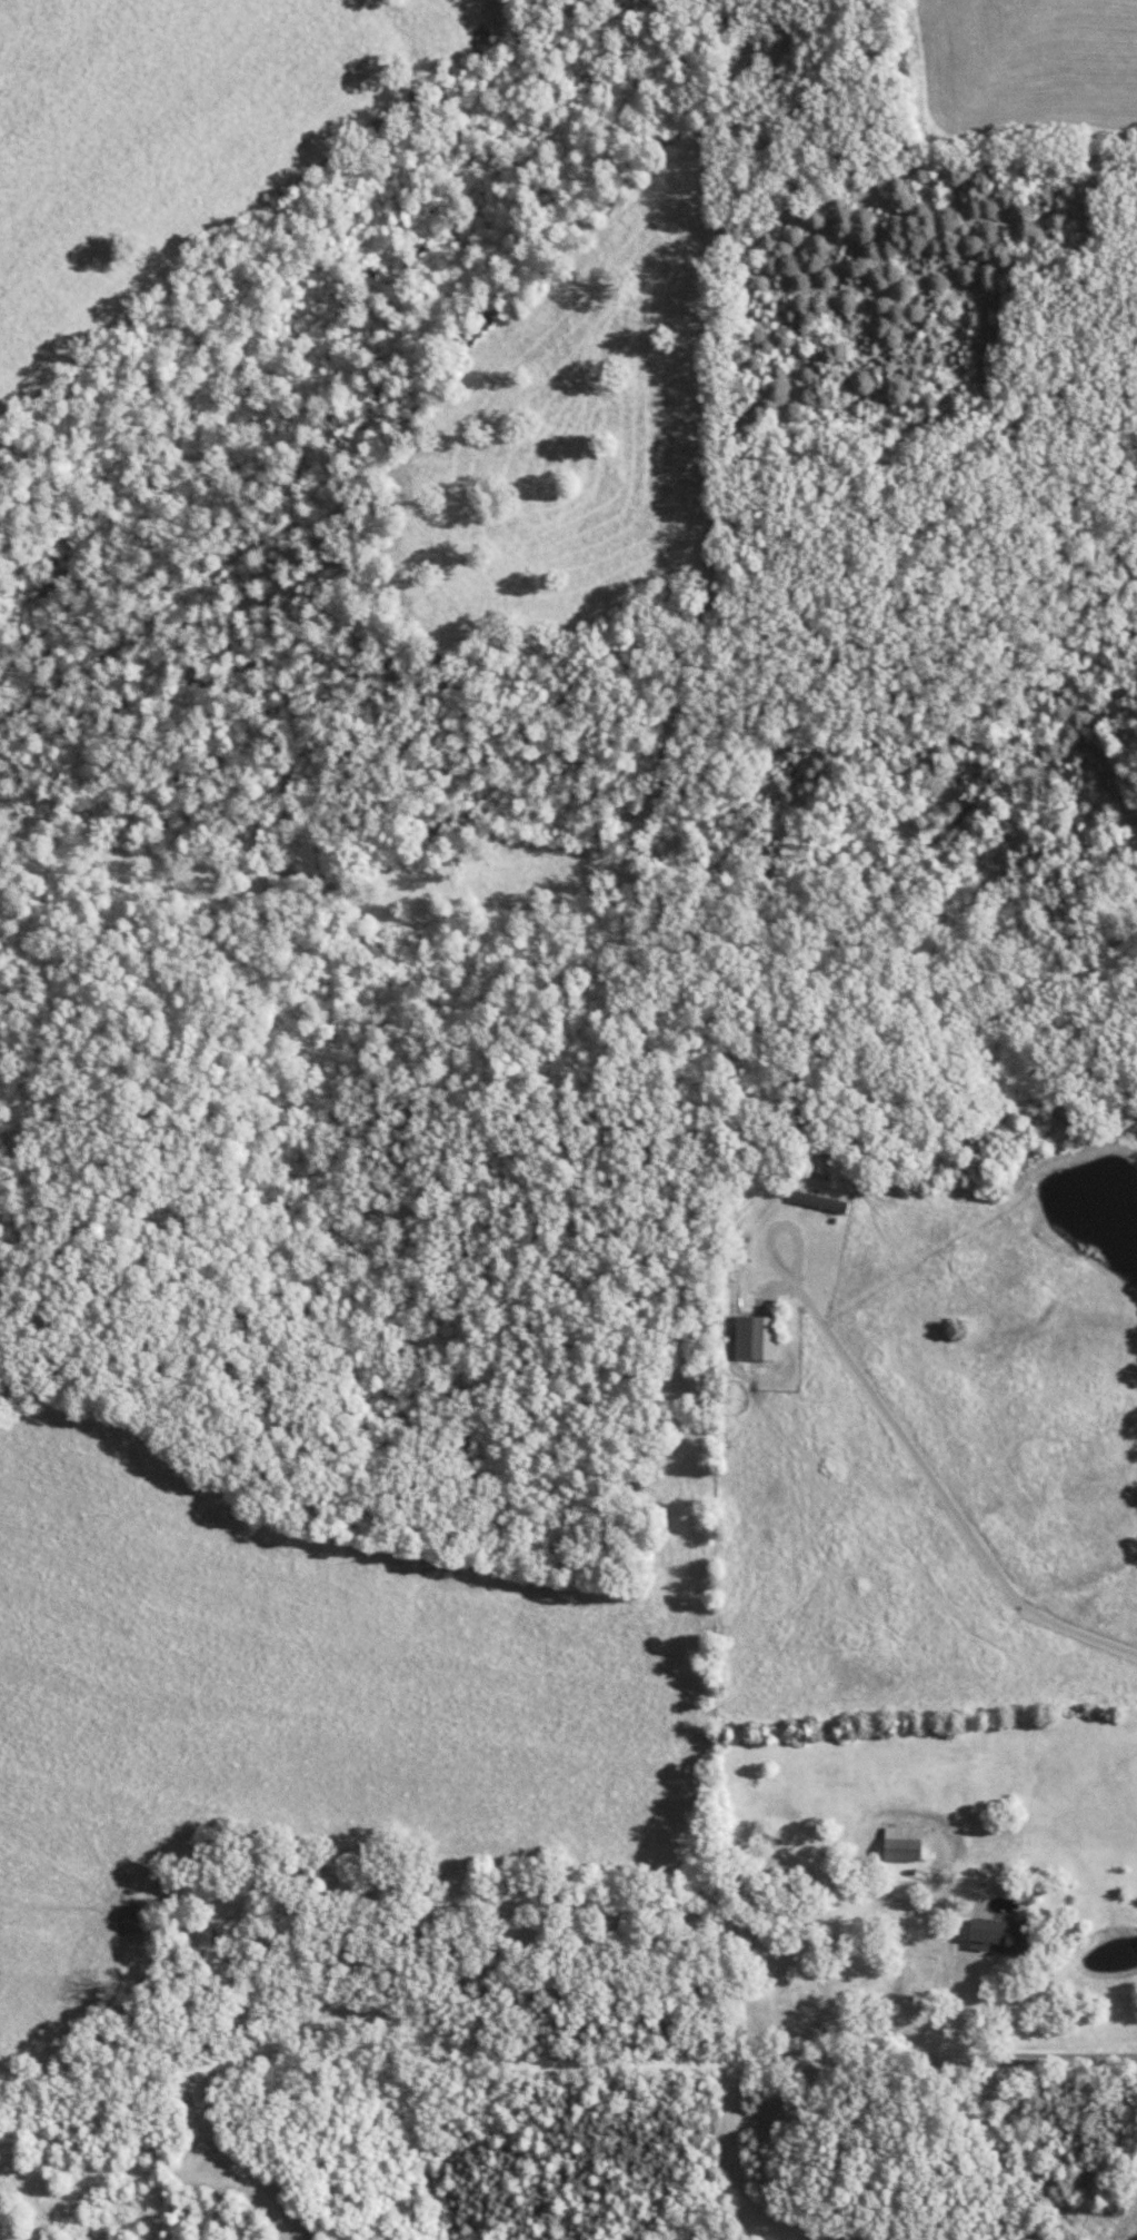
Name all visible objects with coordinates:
building: (827, 1201)
road: (775, 1272)
building: (764, 1338)
road: (945, 1504)
building: (910, 1843)
building: (1006, 1932)
road: (1028, 2005)
road: (557, 2073)

